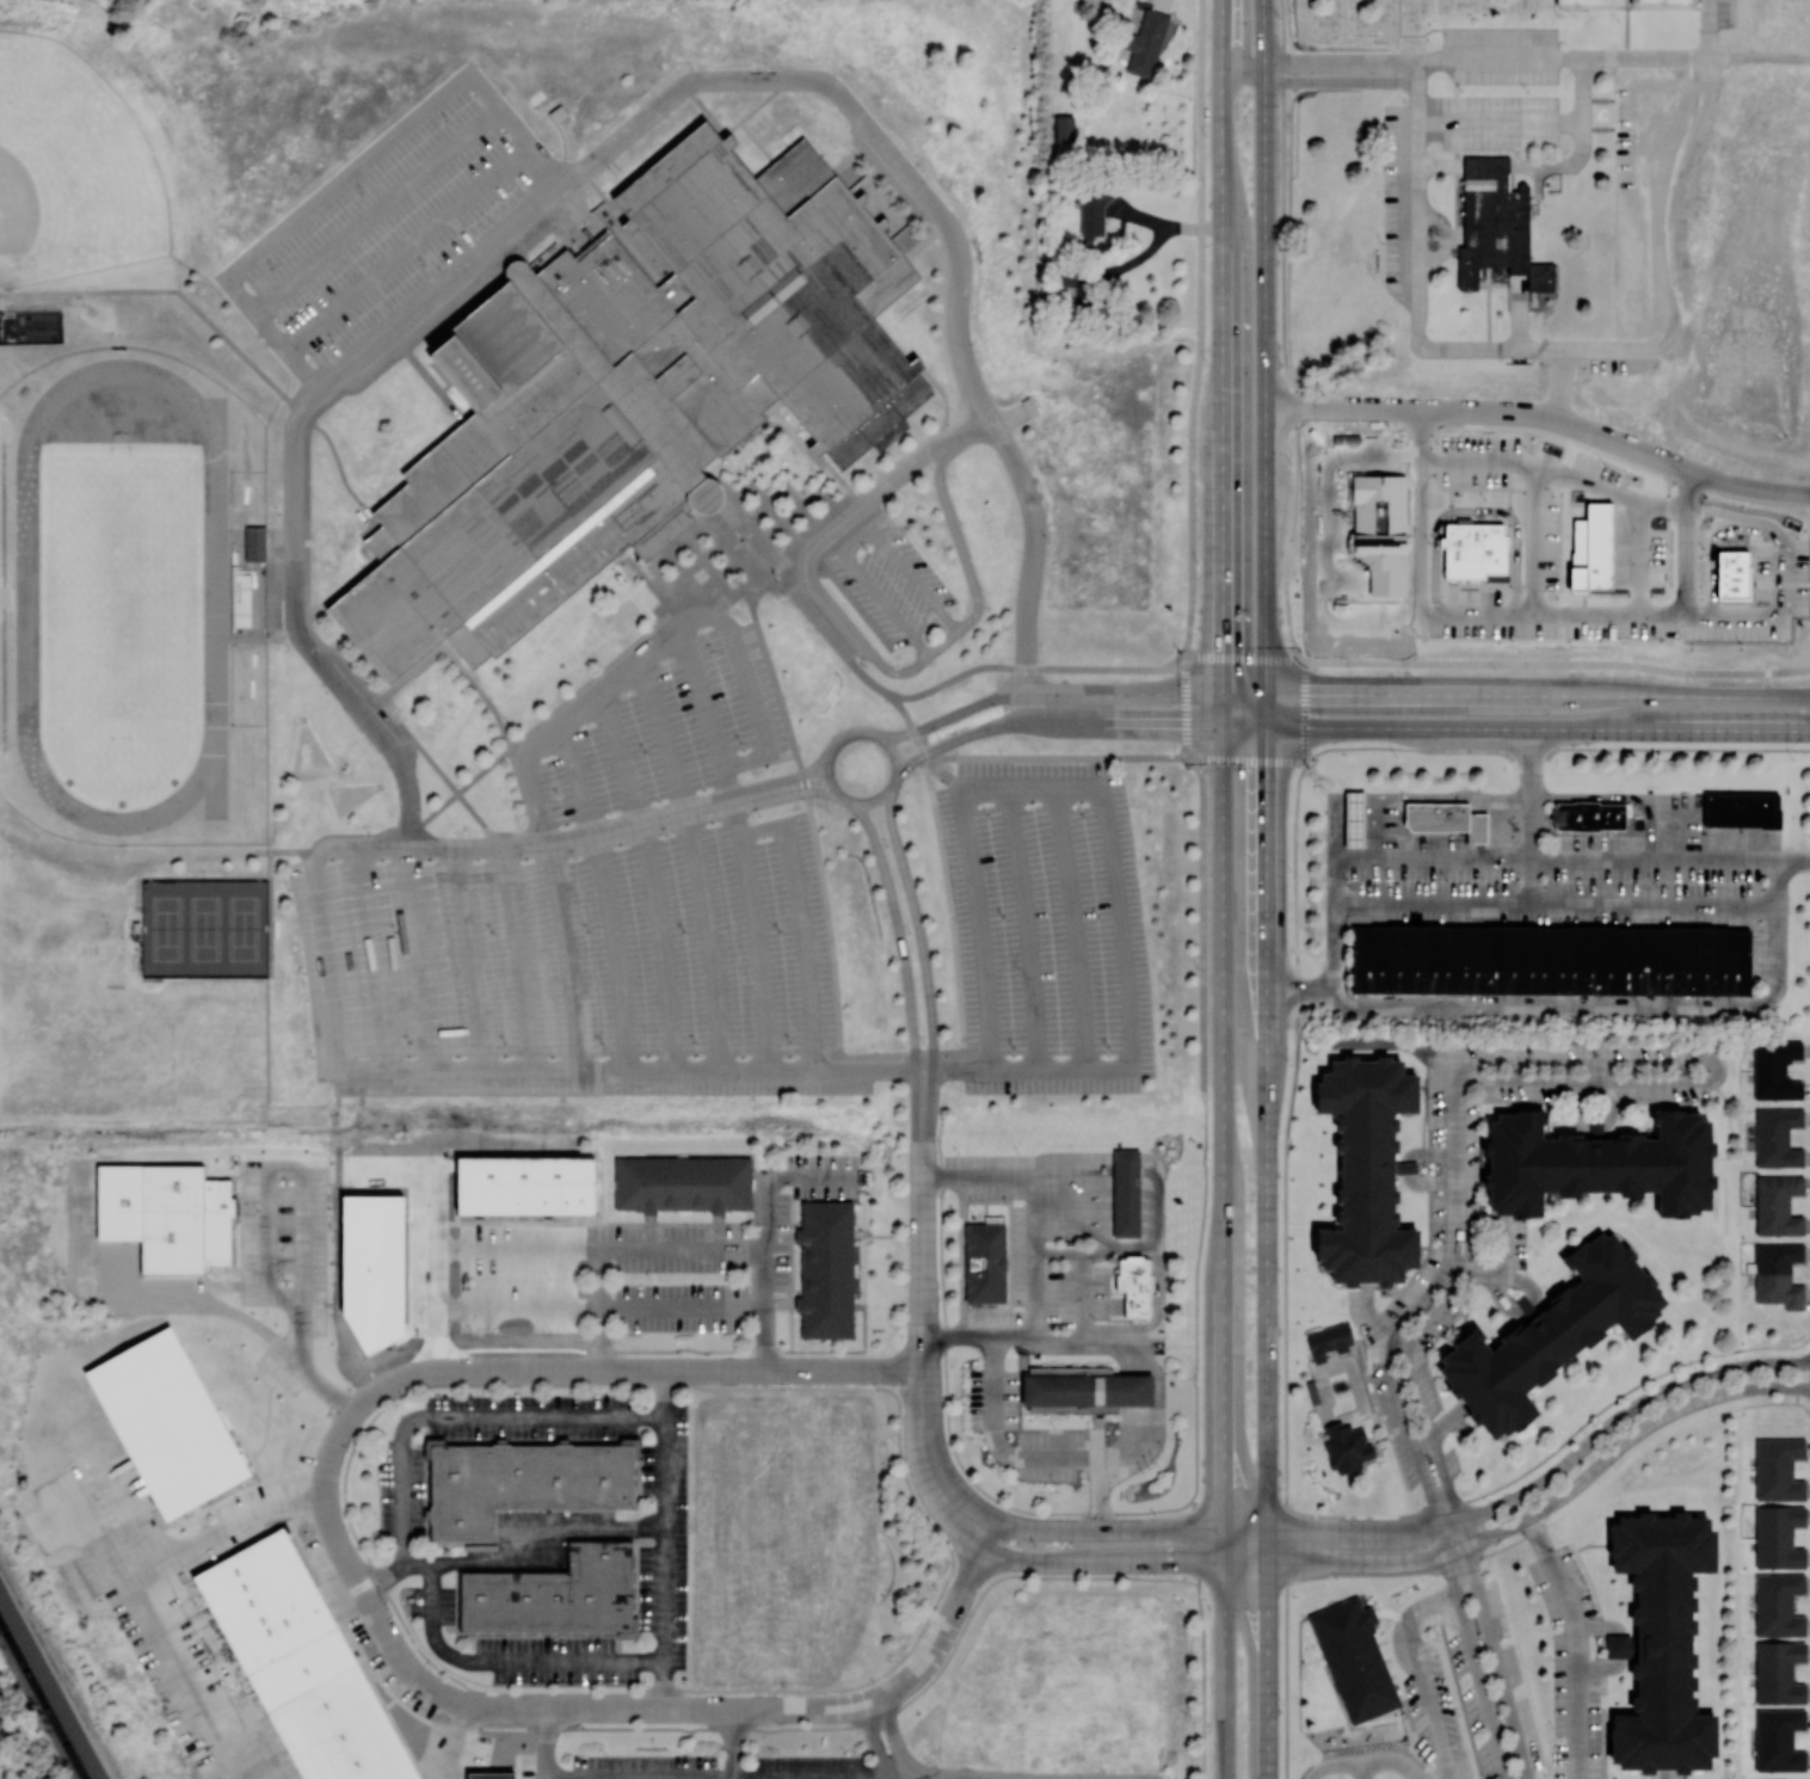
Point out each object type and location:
building: (1589, 1)
building: (1664, 1)
road: (1626, 2)
road: (1632, 6)
parking lot: (1722, 13)
park: (1564, 20)
road: (1461, 26)
road: (1709, 29)
road: (1626, 31)
building: (1146, 42)
parking lot: (1501, 55)
road: (1510, 56)
road: (1645, 56)
road: (1759, 57)
road: (1319, 61)
road: (1417, 72)
road: (1318, 81)
road: (1582, 88)
road: (1597, 99)
road: (854, 106)
road: (1500, 122)
building: (1064, 128)
road: (1597, 128)
road: (1455, 146)
road: (1440, 164)
road: (1563, 164)
park: (70, 168)
parking lot: (1400, 184)
parking lot: (1649, 192)
road: (1281, 201)
road: (1672, 202)
road: (1417, 204)
road: (910, 209)
building: (1092, 213)
road: (573, 218)
building: (1495, 220)
parking lot: (389, 227)
road: (1441, 236)
road: (1446, 236)
building: (522, 267)
building: (1544, 276)
road: (1519, 310)
road: (1417, 327)
road: (1200, 330)
road: (1220, 345)
road: (1467, 347)
road: (1588, 349)
road: (1673, 349)
road: (1263, 363)
parking lot: (1594, 363)
building: (641, 390)
building: (1030, 407)
road: (1541, 417)
road: (965, 430)
road: (294, 478)
road: (1533, 484)
road: (1587, 486)
building: (715, 498)
road: (1475, 510)
road: (1743, 519)
road: (1282, 533)
building: (1386, 536)
road: (856, 538)
road: (1640, 538)
building: (257, 543)
road: (1032, 550)
building: (1475, 550)
building: (1596, 552)
road: (1711, 561)
building: (1732, 574)
parking lot: (888, 580)
track: (4, 595)
park: (121, 598)
building: (242, 598)
track: (214, 603)
road: (1519, 616)
road: (1761, 616)
traffic signals: (1221, 640)
road: (659, 641)
road: (873, 654)
road: (1240, 659)
road: (1554, 663)
road: (1029, 667)
road: (1047, 691)
traffic signals: (1316, 692)
road: (1515, 694)
road: (700, 696)
road: (1186, 708)
road: (1221, 709)
road: (1054, 722)
traffic signals: (1172, 727)
road: (1516, 727)
parking lot: (667, 732)
road: (1497, 749)
road: (1010, 756)
traffic signals: (1264, 764)
road: (941, 770)
road: (802, 774)
road: (783, 778)
road: (727, 783)
road: (788, 793)
road: (1423, 798)
road: (1620, 798)
road: (874, 800)
building: (1742, 808)
road: (1531, 817)
building: (1592, 817)
building: (1439, 818)
gas station: (1355, 819)
building: (1360, 820)
road: (1504, 827)
road: (1680, 827)
building: (1480, 829)
road: (575, 830)
road: (1794, 858)
road: (696, 860)
road: (652, 876)
road: (607, 893)
road: (796, 906)
road: (1557, 906)
road: (950, 912)
road: (1077, 925)
road: (1120, 925)
road: (1202, 925)
park: (205, 927)
park: (848, 927)
road: (1028, 927)
park: (31, 928)
road: (978, 928)
road: (898, 929)
parking lot: (1047, 929)
road: (918, 930)
road: (758, 949)
road: (567, 954)
road: (522, 956)
road: (470, 958)
building: (1551, 959)
parking lot: (579, 971)
road: (1300, 990)
road: (1773, 996)
park: (117, 1045)
road: (1711, 1059)
building: (1775, 1069)
road: (955, 1070)
road: (470, 1072)
road: (1609, 1127)
building: (1777, 1137)
road: (1223, 1145)
road: (1264, 1145)
building: (1597, 1163)
building: (1405, 1168)
building: (1366, 1170)
road: (1409, 1170)
road: (1029, 1175)
road: (1455, 1182)
building: (685, 1186)
building: (530, 1189)
building: (1126, 1192)
building: (1777, 1204)
road: (301, 1207)
building: (171, 1219)
road: (923, 1220)
road: (762, 1233)
road: (1100, 1235)
road: (620, 1244)
road: (1123, 1246)
road: (458, 1248)
building: (985, 1262)
building: (830, 1273)
building: (1775, 1273)
road: (1500, 1275)
building: (1134, 1284)
road: (1083, 1297)
road: (679, 1306)
road: (1035, 1311)
road: (1523, 1311)
road: (1371, 1313)
building: (1551, 1334)
road: (1196, 1337)
road: (1106, 1338)
building: (1332, 1343)
road: (1399, 1347)
road: (601, 1371)
road: (665, 1392)
road: (1138, 1392)
road: (1390, 1392)
building: (1090, 1393)
building: (1316, 1395)
road: (1415, 1396)
road: (464, 1415)
road: (1447, 1422)
building: (170, 1424)
road: (1626, 1440)
road: (992, 1443)
road: (1422, 1446)
building: (1348, 1447)
road: (942, 1454)
road: (1103, 1457)
building: (1778, 1467)
road: (922, 1471)
road: (1549, 1476)
building: (522, 1479)
road: (216, 1528)
road: (1131, 1532)
building: (1777, 1535)
road: (664, 1537)
road: (1455, 1550)
road: (511, 1555)
road: (1101, 1563)
road: (1335, 1564)
road: (1012, 1574)
building: (553, 1592)
building: (1777, 1602)
road: (1433, 1611)
road: (1599, 1626)
road: (141, 1627)
building: (1662, 1642)
road: (1575, 1643)
building: (1620, 1645)
road: (1619, 1646)
road: (1491, 1650)
road: (1473, 1652)
building: (1354, 1657)
road: (505, 1661)
building: (301, 1663)
road: (1600, 1667)
road: (1267, 1670)
road: (1224, 1672)
building: (1778, 1672)
road: (1203, 1676)
railway: (51, 1681)
road: (663, 1685)
railway: (42, 1701)
road: (1428, 1701)
road: (636, 1710)
road: (895, 1737)
building: (1778, 1738)
road: (452, 1742)
road: (875, 1742)
road: (542, 1743)
road: (733, 1743)
road: (1366, 1762)
road: (1363, 1771)
road: (1663, 1773)
building: (492, 1775)
road: (565, 1777)
road: (696, 1777)
road: (587, 1778)
road: (726, 1778)

